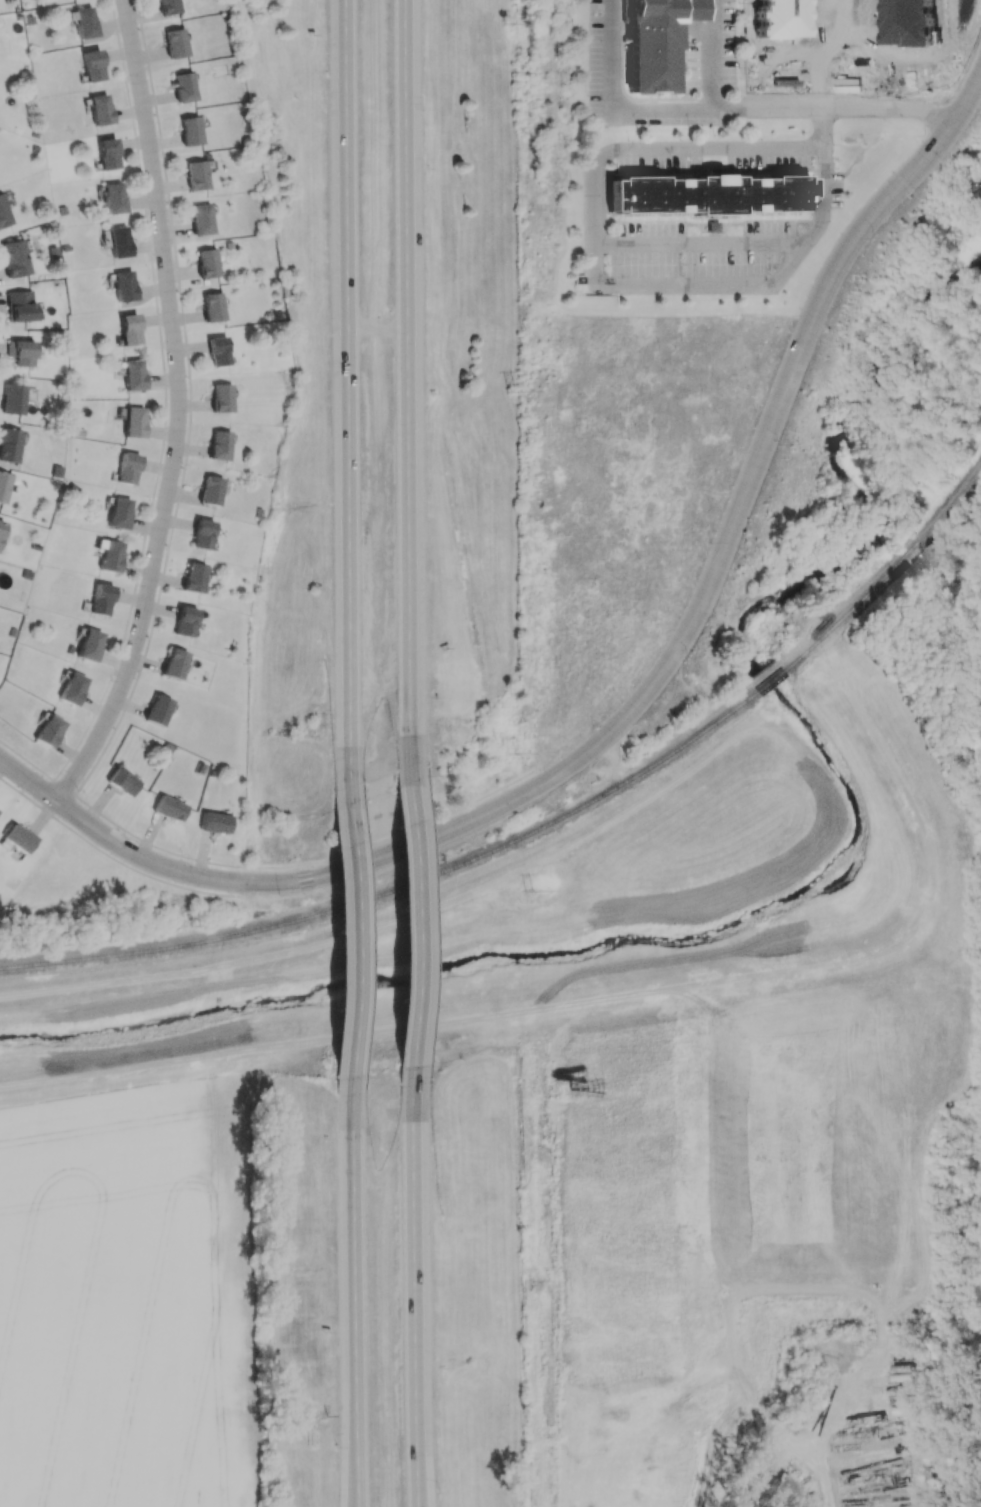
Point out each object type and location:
building: (168, 6)
building: (788, 18)
building: (83, 22)
power tower: (512, 22)
building: (914, 22)
parking lot: (852, 26)
road: (832, 31)
road: (868, 31)
building: (175, 43)
building: (650, 47)
road: (711, 55)
road: (613, 56)
road: (854, 63)
building: (91, 65)
parking lot: (783, 67)
parking lot: (910, 67)
building: (183, 87)
building: (99, 109)
road: (788, 110)
road: (709, 129)
building: (189, 131)
building: (106, 153)
building: (196, 175)
building: (112, 197)
building: (707, 199)
building: (3, 213)
building: (201, 219)
building: (712, 227)
building: (117, 241)
road: (612, 249)
building: (13, 258)
building: (206, 263)
building: (123, 285)
building: (19, 306)
building: (212, 306)
building: (128, 329)
road: (379, 329)
building: (217, 351)
building: (20, 352)
building: (132, 374)
road: (348, 385)
road: (412, 387)
power tower: (515, 390)
building: (221, 397)
building: (12, 399)
road: (178, 411)
building: (133, 422)
building: (9, 444)
building: (218, 445)
road: (756, 463)
building: (127, 468)
building: (3, 485)
building: (210, 490)
building: (118, 512)
building: (1, 528)
building: (202, 533)
railway: (890, 572)
building: (193, 578)
building: (100, 599)
building: (184, 621)
building: (88, 644)
building: (173, 663)
railway: (767, 681)
building: (71, 688)
building: (156, 710)
building: (48, 730)
building: (121, 781)
building: (168, 808)
building: (213, 822)
building: (17, 838)
road: (110, 856)
road: (259, 866)
road: (233, 881)
railway: (394, 887)
power tower: (534, 890)
road: (397, 920)
road: (413, 920)
road: (355, 927)
road: (617, 997)
power tower: (537, 1276)
road: (416, 1285)
road: (356, 1296)
crop: (136, 1304)

